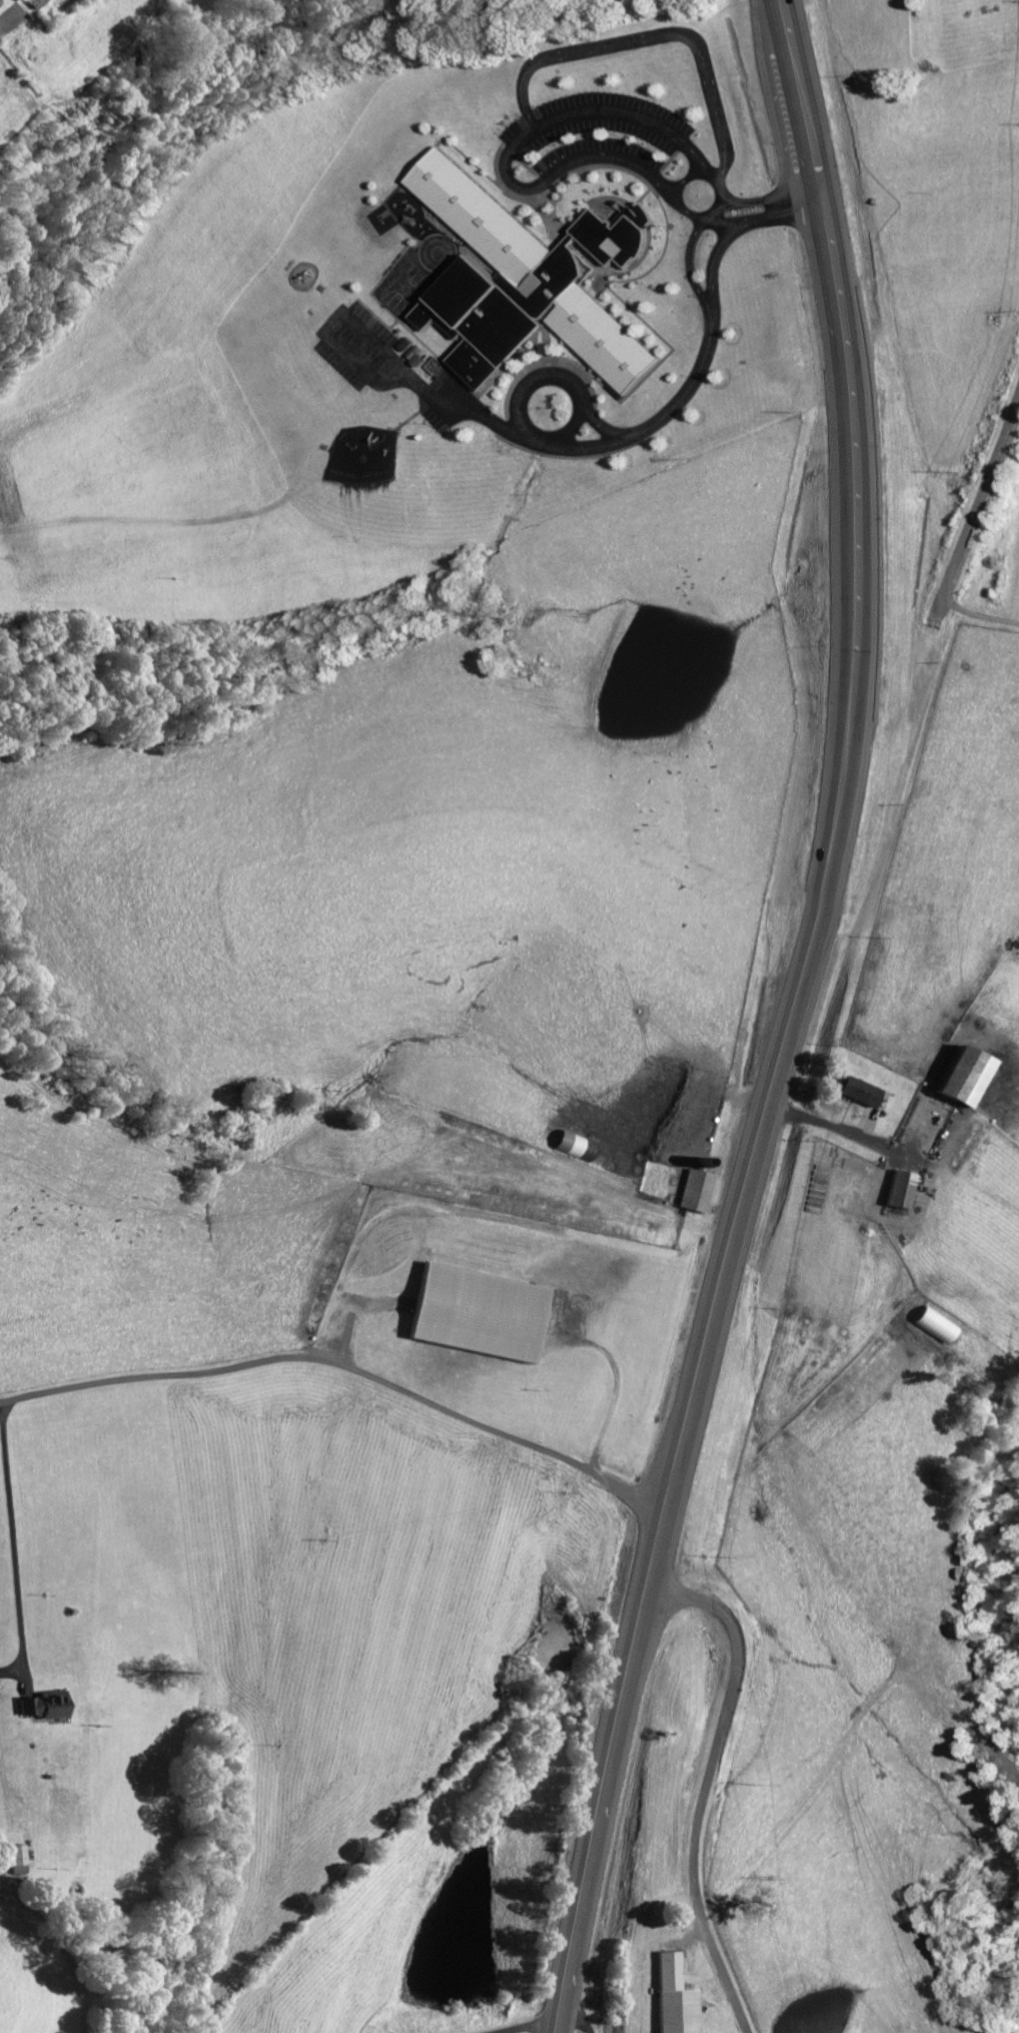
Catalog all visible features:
building: (34, 3)
building: (611, 234)
building: (515, 288)
road: (978, 499)
road: (980, 612)
road: (789, 1023)
building: (961, 1076)
building: (856, 1090)
building: (574, 1145)
building: (901, 1189)
building: (697, 1191)
building: (476, 1313)
building: (937, 1324)
road: (344, 1368)
road: (27, 1453)
building: (45, 1706)
road: (706, 1784)
building: (17, 1860)
building: (674, 1997)

